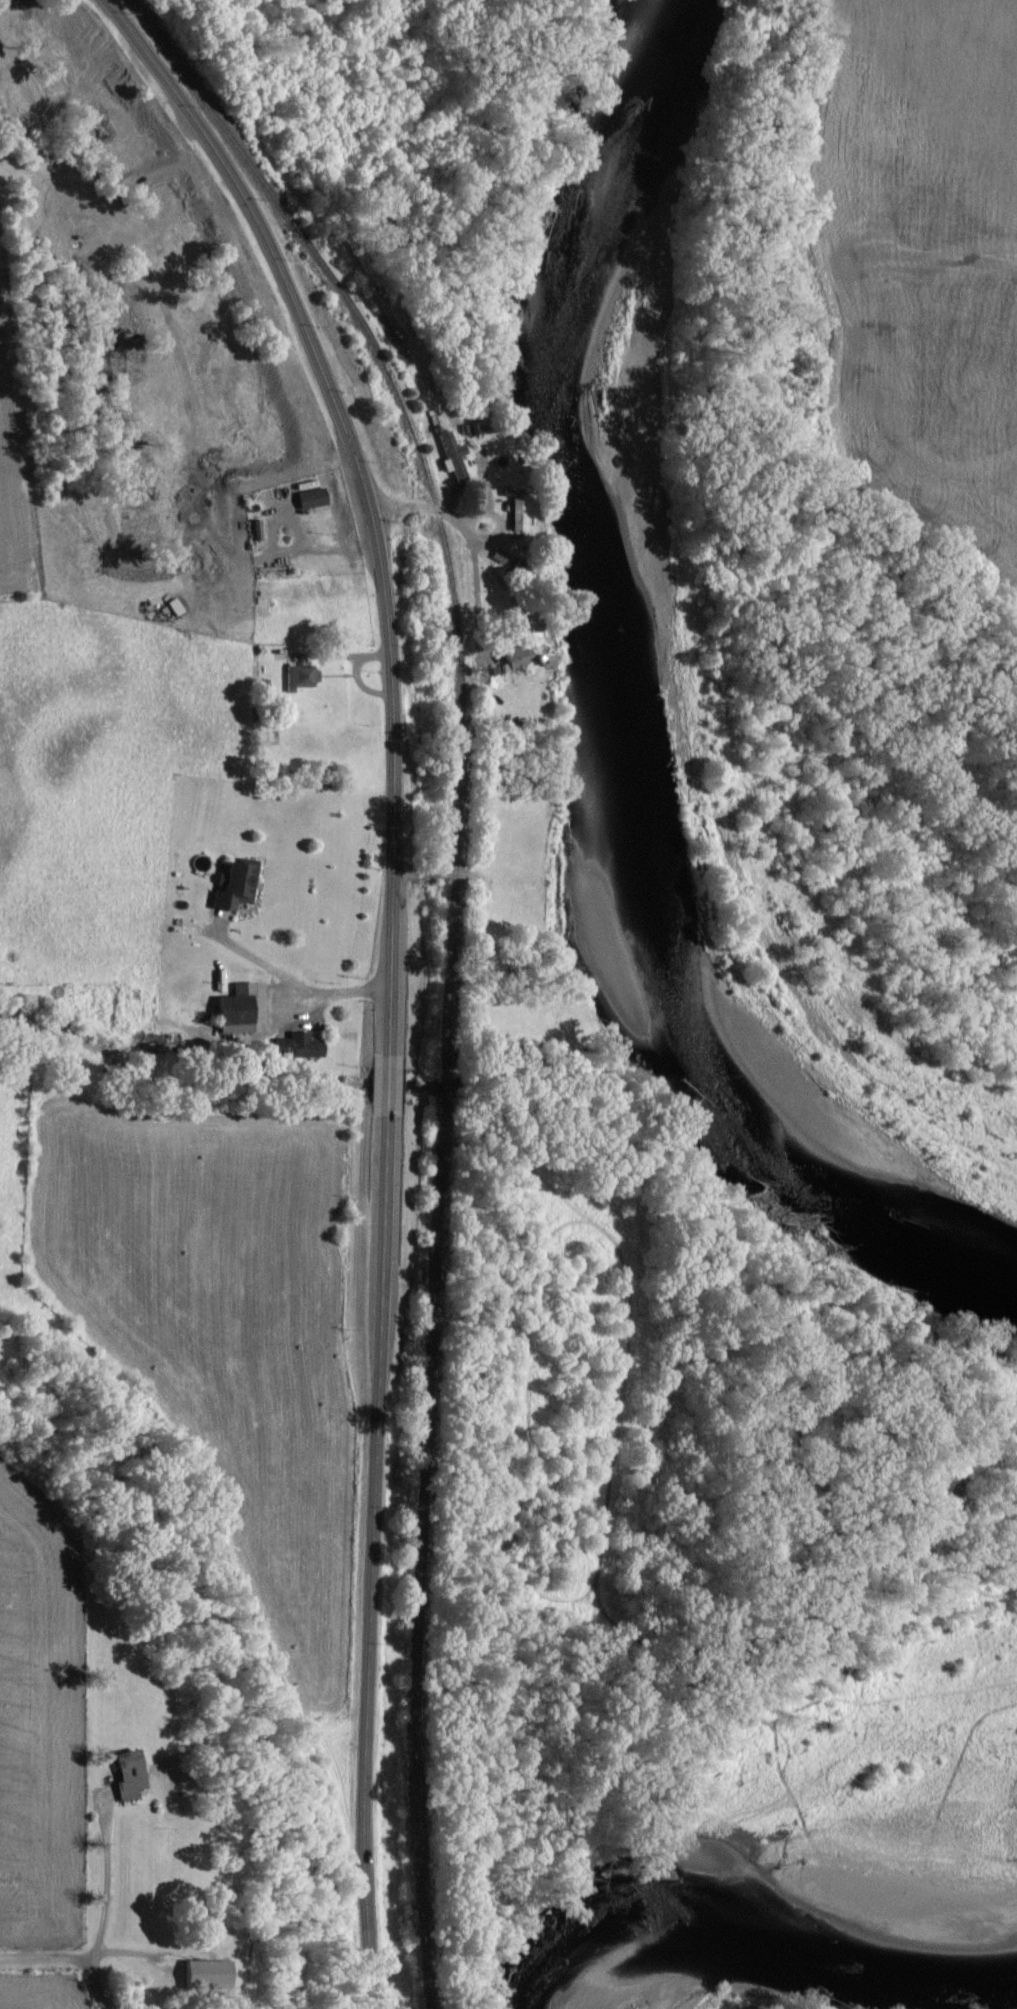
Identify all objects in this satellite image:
building: (451, 457)
road: (363, 493)
building: (309, 499)
building: (514, 514)
building: (513, 661)
building: (539, 661)
building: (299, 679)
river: (636, 694)
building: (232, 886)
railway: (450, 958)
road: (293, 978)
building: (234, 1011)
road: (385, 1084)
road: (369, 1562)
building: (125, 1776)
river: (795, 1821)
road: (105, 1885)
road: (65, 1960)
building: (201, 1975)

